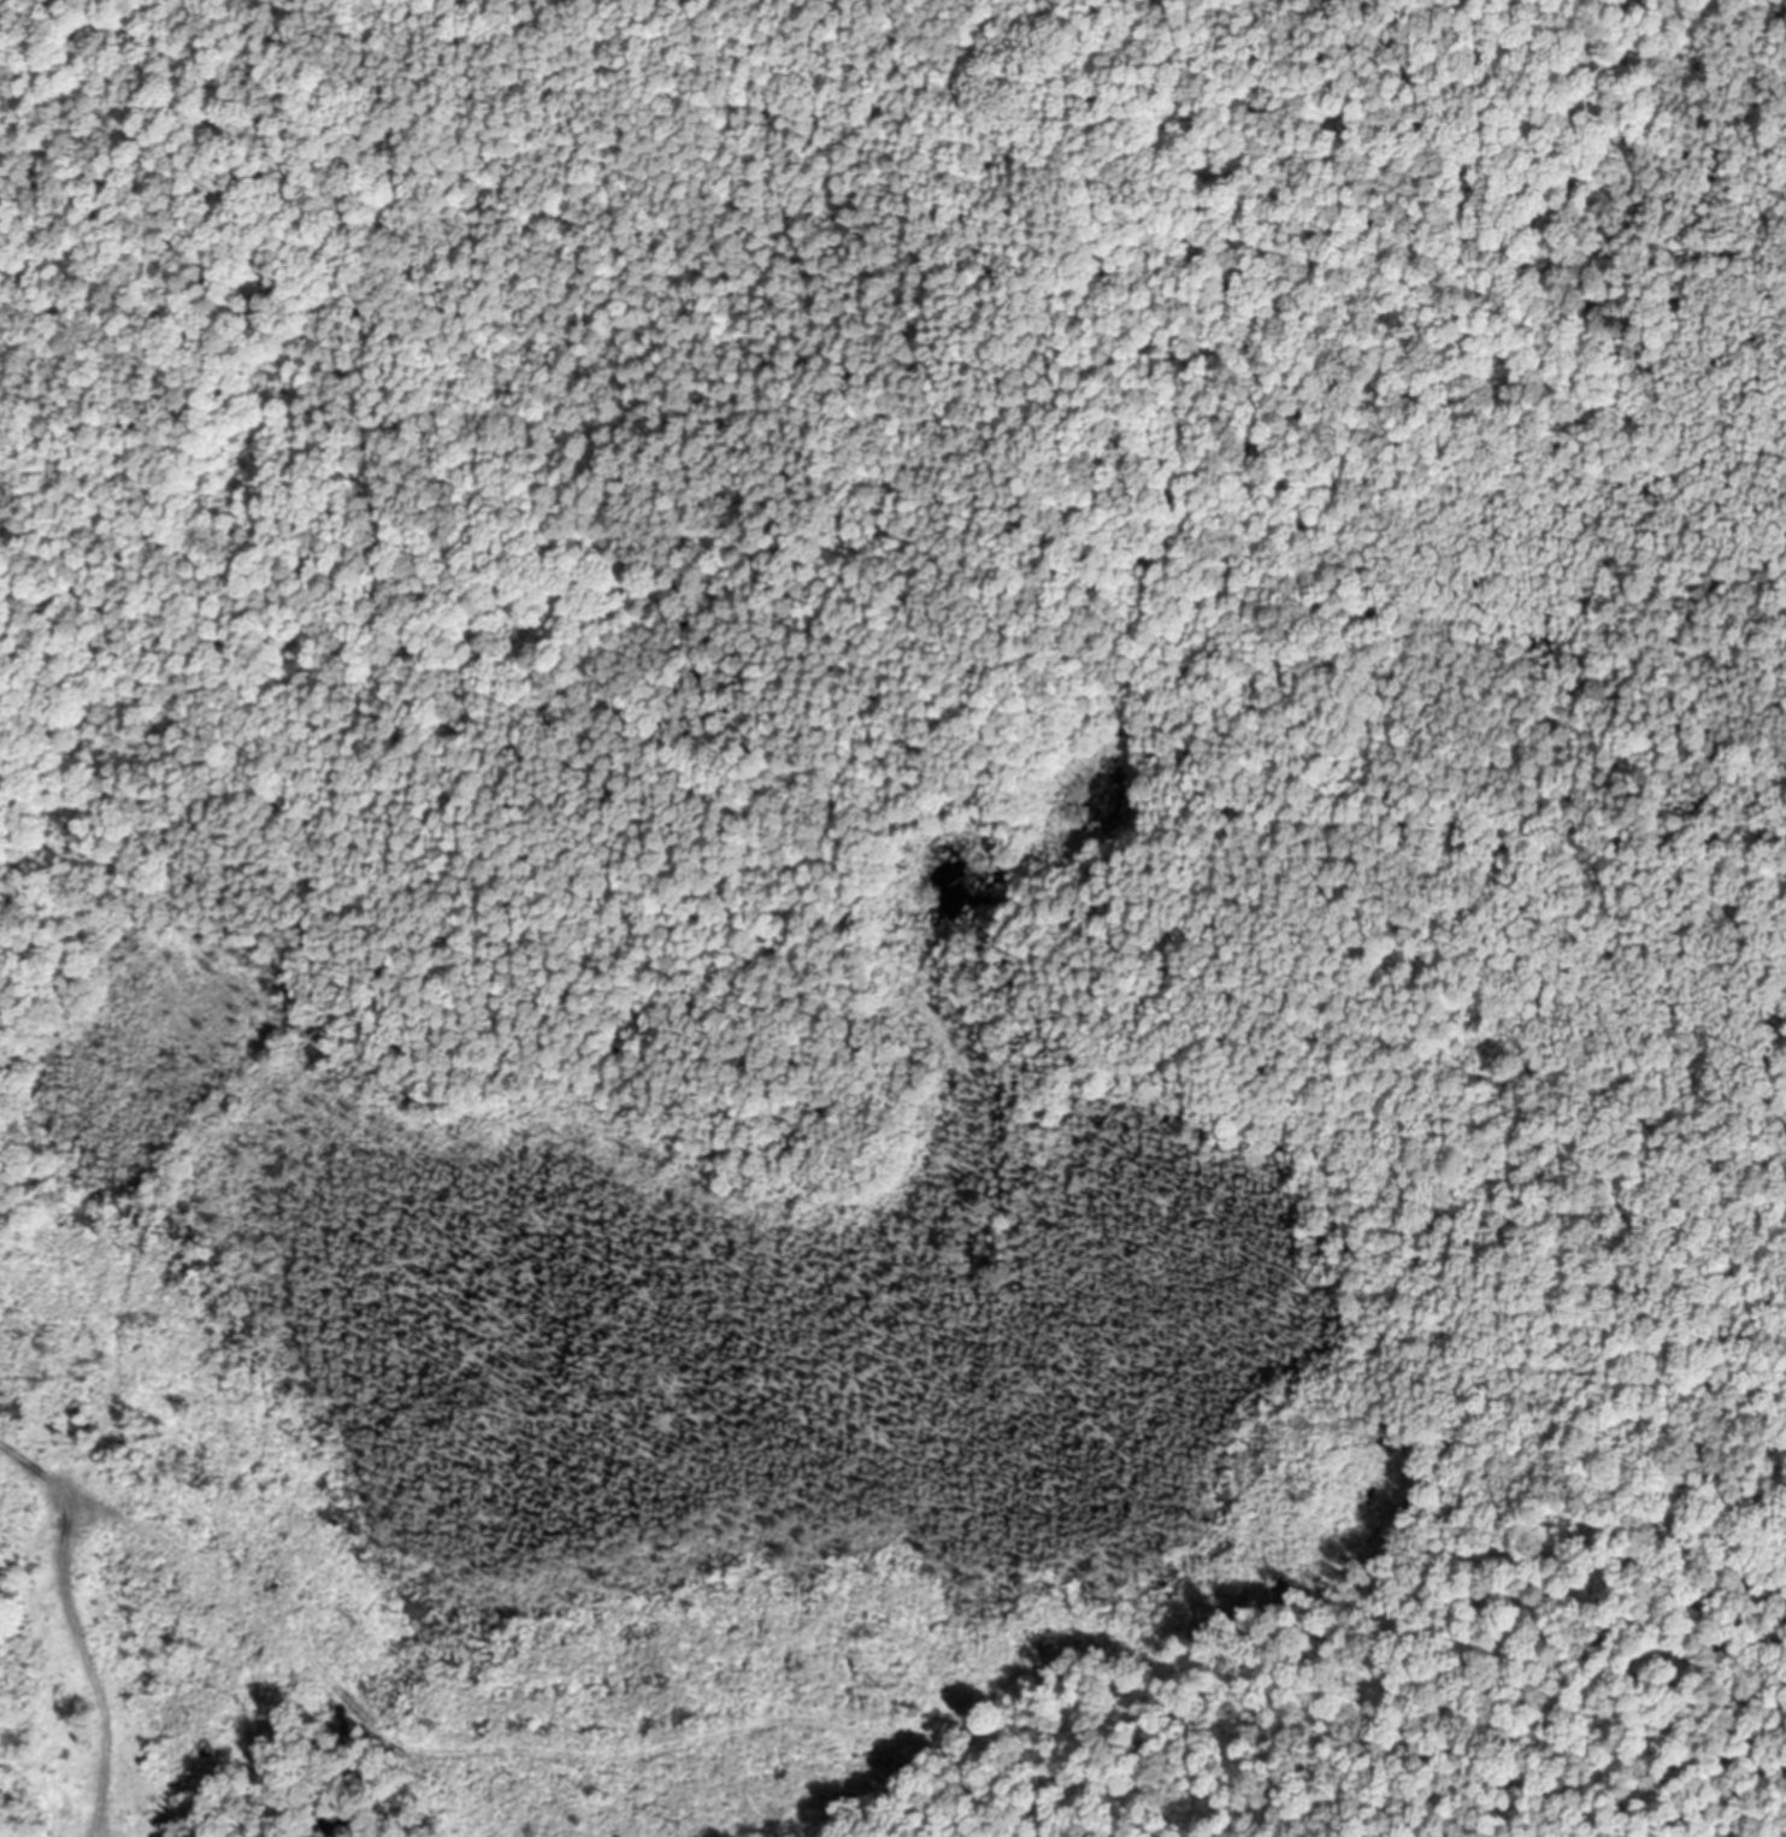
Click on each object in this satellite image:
road: (76, 1630)

